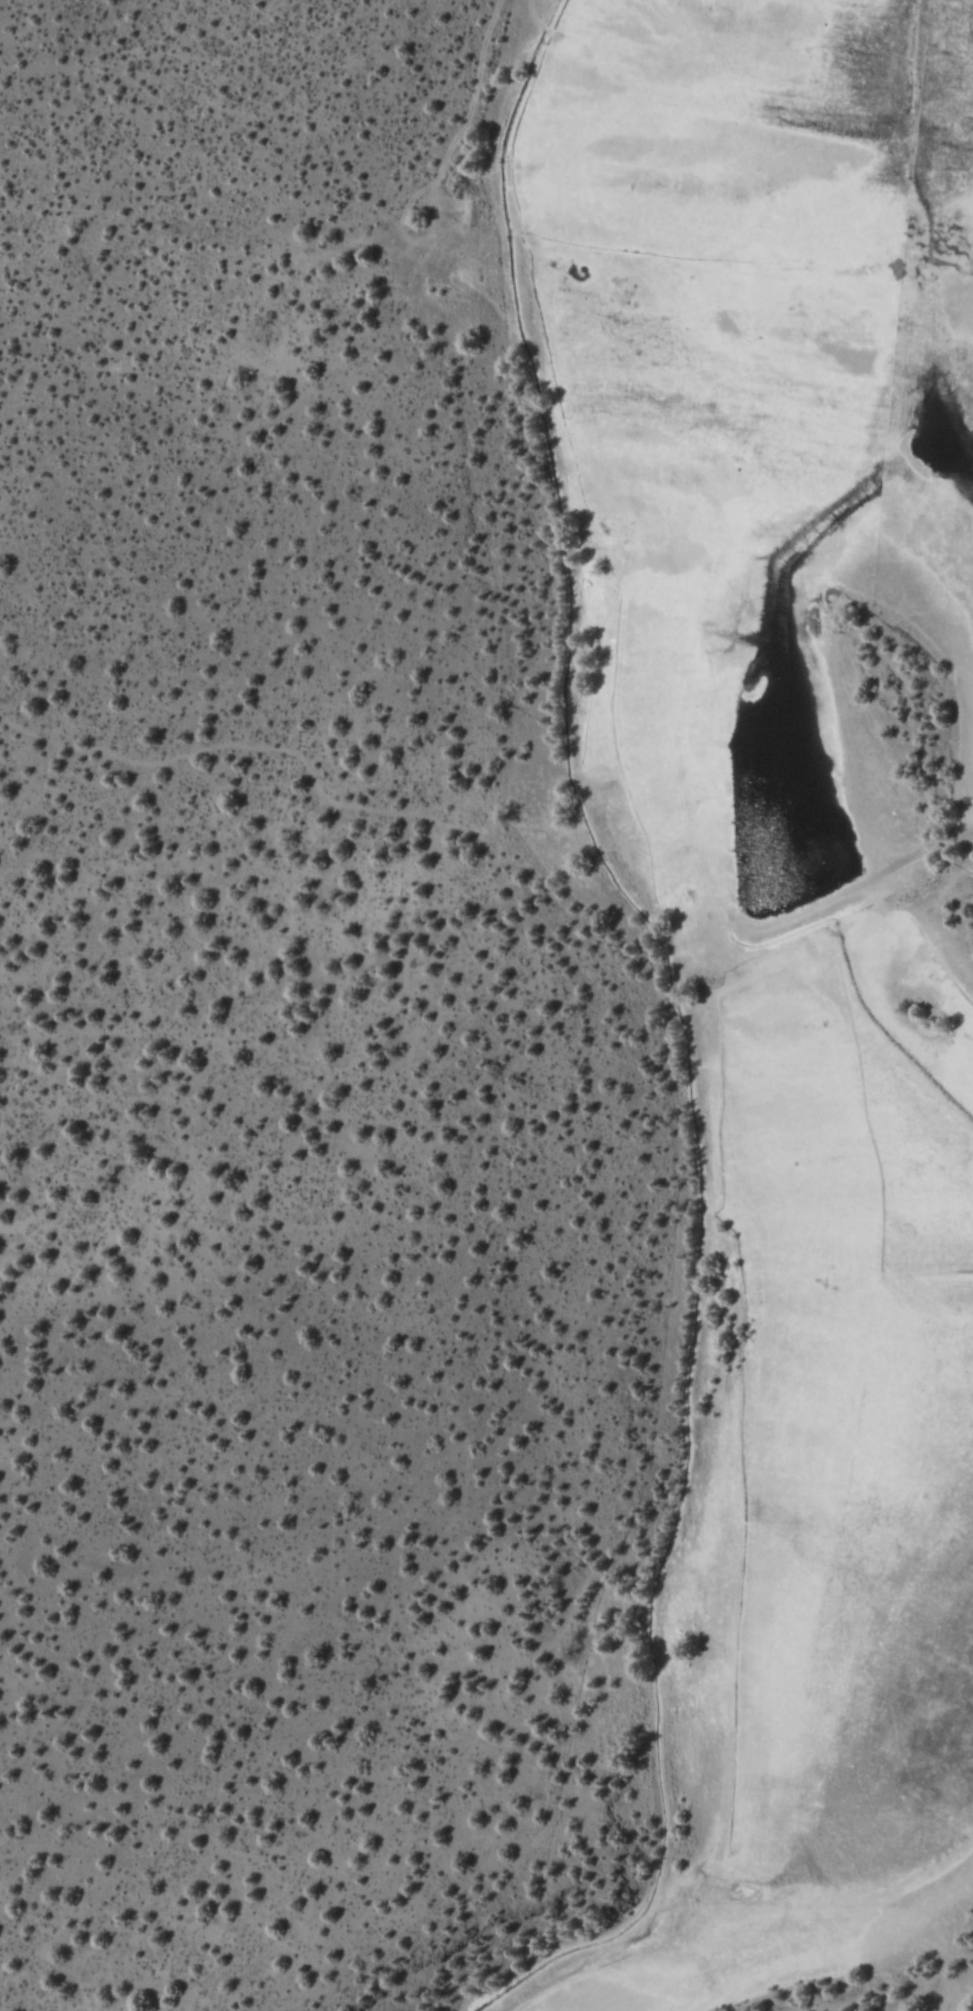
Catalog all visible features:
crop: (770, 901)

